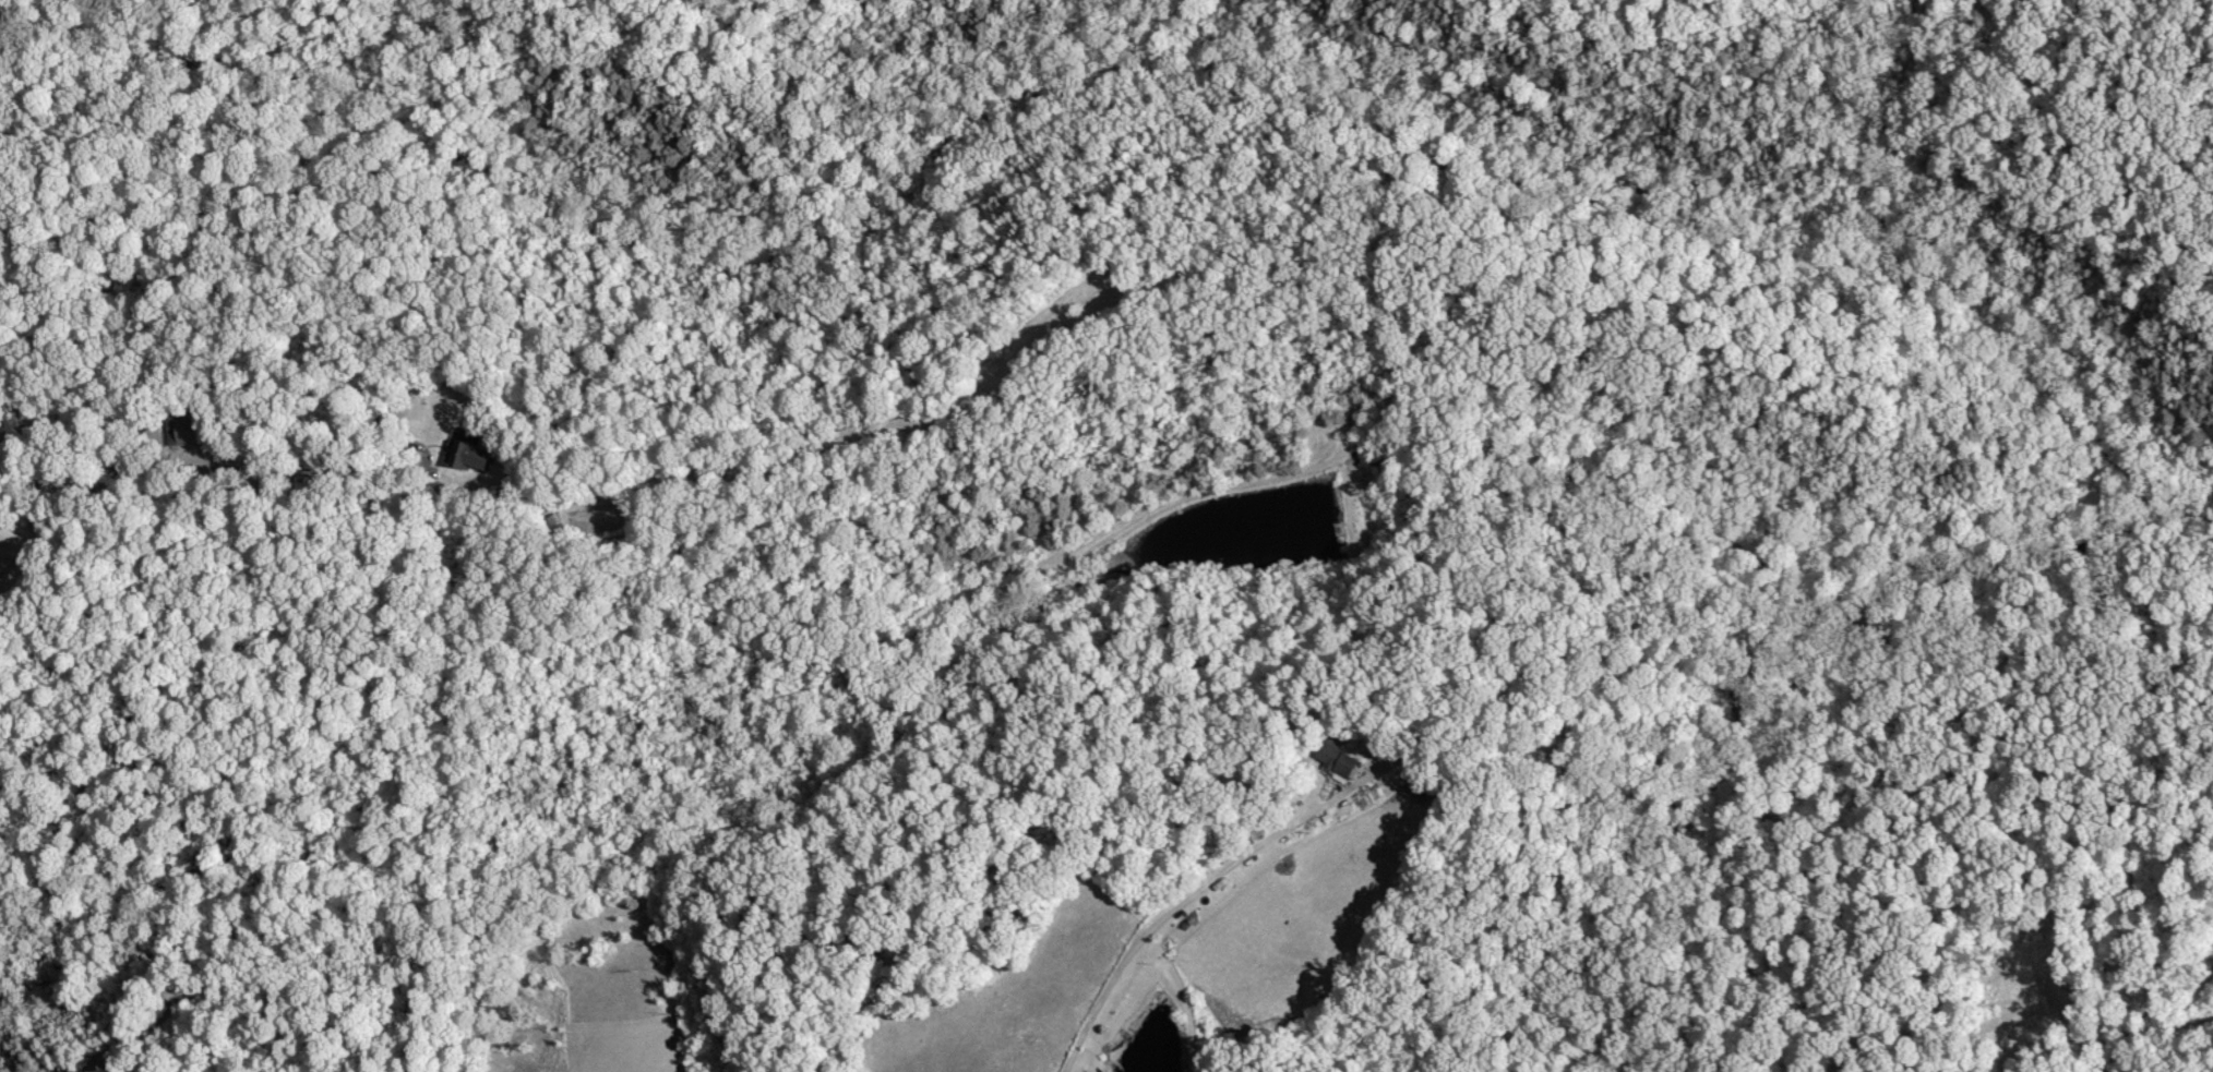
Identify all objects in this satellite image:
building: (470, 456)
road: (191, 470)
building: (1338, 759)
road: (1185, 995)
road: (1093, 1003)

